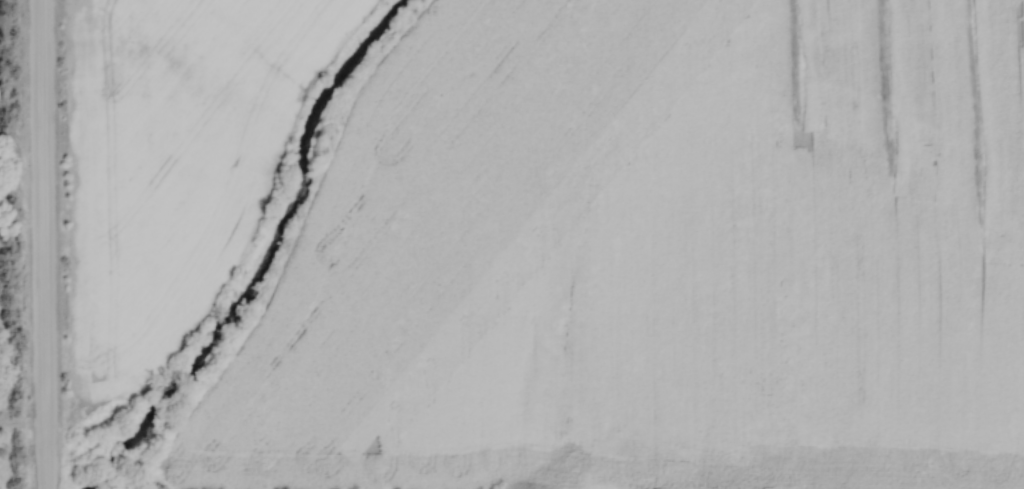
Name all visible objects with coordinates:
road: (43, 244)

